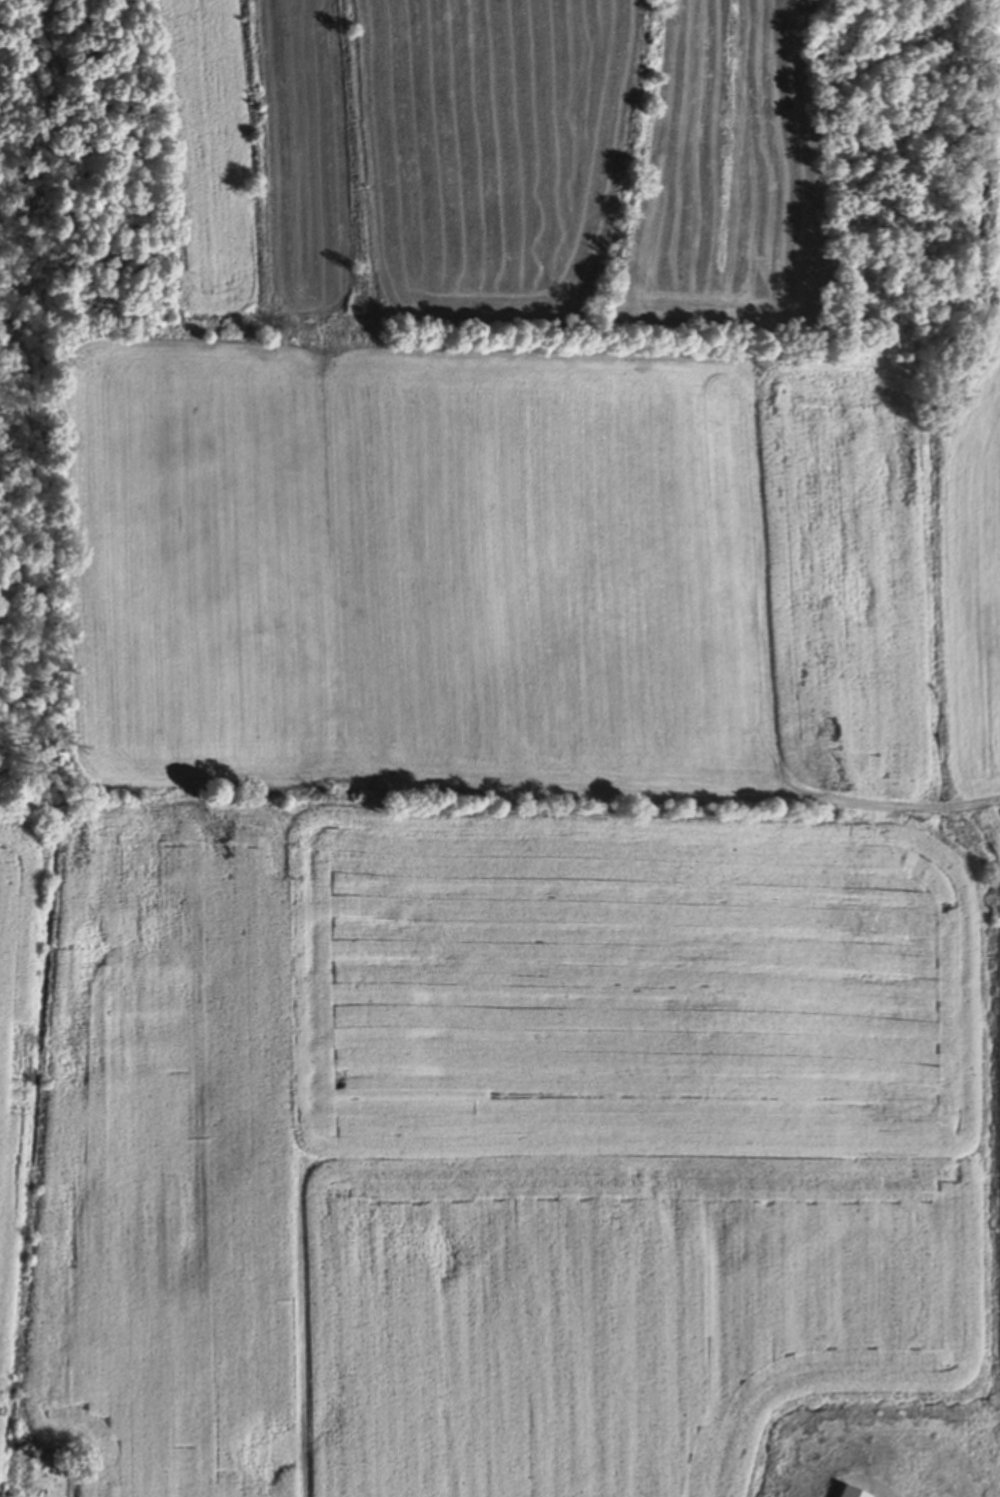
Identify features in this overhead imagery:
building: (841, 1493)

